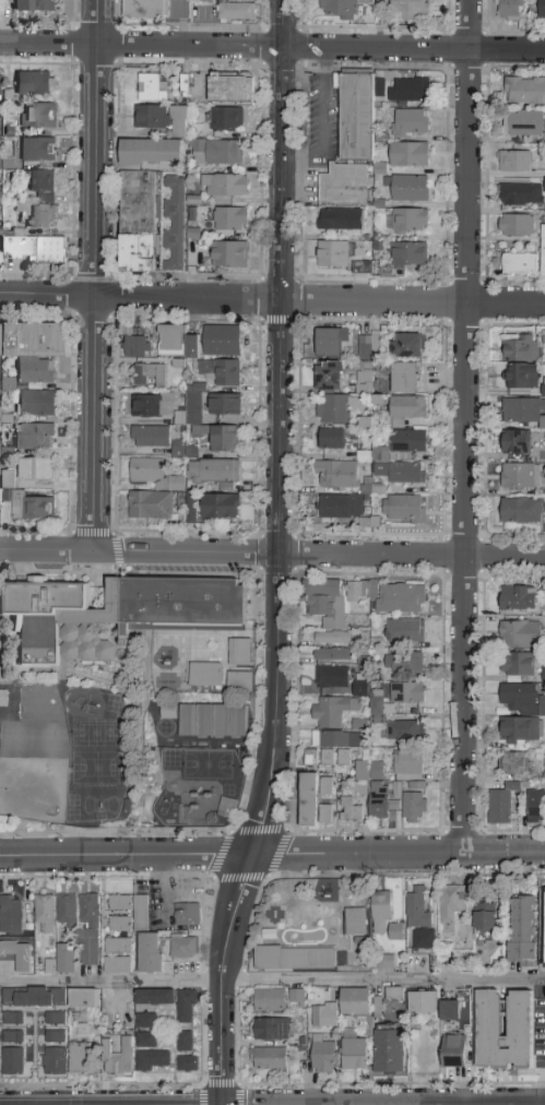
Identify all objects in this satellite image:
building: (199, 0)
building: (365, 0)
building: (4, 1)
building: (34, 5)
building: (145, 9)
building: (340, 9)
building: (408, 9)
building: (542, 9)
building: (237, 10)
building: (512, 10)
road: (272, 48)
building: (35, 83)
building: (153, 88)
building: (232, 90)
building: (407, 91)
building: (525, 91)
building: (38, 116)
building: (357, 117)
building: (162, 118)
building: (226, 119)
parking lot: (324, 119)
road: (324, 121)
building: (410, 123)
building: (525, 123)
road: (95, 148)
building: (37, 150)
road: (282, 150)
building: (151, 153)
building: (217, 153)
building: (410, 155)
building: (516, 162)
building: (544, 183)
building: (42, 185)
building: (224, 186)
building: (344, 187)
building: (410, 189)
building: (521, 194)
building: (40, 216)
building: (230, 219)
building: (339, 219)
building: (138, 222)
building: (410, 222)
building: (175, 223)
building: (517, 225)
building: (14, 247)
building: (51, 250)
building: (544, 252)
building: (333, 254)
building: (229, 256)
building: (408, 259)
building: (520, 265)
building: (362, 268)
road: (47, 296)
road: (186, 298)
road: (411, 302)
building: (544, 336)
building: (222, 341)
building: (138, 342)
building: (177, 342)
building: (332, 342)
building: (407, 346)
building: (369, 348)
building: (520, 348)
building: (34, 349)
building: (221, 372)
building: (150, 376)
building: (330, 376)
building: (518, 377)
building: (404, 379)
building: (5, 382)
building: (36, 403)
building: (224, 404)
building: (153, 406)
building: (190, 408)
building: (335, 408)
building: (406, 409)
building: (522, 411)
road: (92, 424)
road: (465, 427)
building: (36, 436)
building: (150, 437)
building: (225, 439)
building: (331, 439)
building: (516, 442)
building: (403, 443)
building: (1, 450)
building: (36, 470)
building: (214, 472)
building: (402, 472)
building: (154, 475)
building: (336, 475)
building: (520, 476)
building: (5, 477)
building: (190, 503)
building: (150, 506)
building: (32, 507)
building: (220, 507)
building: (341, 507)
building: (404, 509)
building: (521, 511)
road: (186, 532)
road: (110, 535)
road: (272, 555)
road: (261, 570)
road: (275, 579)
building: (391, 596)
building: (518, 598)
building: (328, 610)
building: (110, 613)
building: (403, 630)
building: (521, 634)
building: (239, 653)
building: (332, 655)
building: (518, 664)
building: (401, 665)
building: (542, 674)
building: (205, 675)
building: (331, 677)
building: (239, 681)
building: (358, 687)
road: (258, 689)
building: (406, 693)
building: (518, 697)
road: (297, 701)
building: (375, 703)
building: (542, 708)
building: (332, 711)
building: (213, 721)
building: (357, 723)
building: (519, 729)
building: (403, 730)
building: (335, 740)
building: (311, 758)
building: (327, 758)
building: (343, 758)
building: (407, 762)
building: (513, 763)
building: (369, 771)
building: (327, 786)
building: (309, 800)
building: (380, 800)
building: (415, 801)
building: (501, 803)
building: (227, 808)
building: (535, 808)
building: (349, 810)
building: (325, 816)
road: (272, 856)
road: (214, 878)
building: (327, 893)
building: (120, 904)
building: (451, 905)
building: (67, 911)
building: (141, 913)
building: (381, 913)
building: (45, 914)
building: (11, 915)
building: (187, 915)
building: (419, 918)
building: (355, 922)
building: (484, 923)
building: (120, 925)
building: (544, 928)
building: (88, 930)
building: (520, 931)
building: (396, 932)
building: (117, 947)
building: (183, 947)
building: (151, 953)
building: (66, 959)
building: (296, 959)
building: (384, 963)
building: (48, 965)
building: (117, 965)
road: (203, 977)
road: (223, 978)
road: (241, 978)
road: (272, 983)
building: (394, 994)
building: (34, 997)
building: (154, 997)
building: (296, 997)
building: (84, 1000)
building: (269, 1000)
building: (355, 1002)
building: (423, 1002)
building: (376, 1006)
building: (187, 1007)
building: (457, 1008)
building: (488, 1013)
building: (324, 1017)
building: (14, 1018)
building: (56, 1018)
building: (146, 1022)
building: (271, 1030)
building: (14, 1037)
building: (55, 1037)
building: (146, 1041)
building: (186, 1042)
building: (390, 1051)
building: (453, 1053)
building: (322, 1055)
building: (354, 1055)
building: (81, 1058)
building: (119, 1058)
building: (269, 1059)
building: (13, 1061)
building: (56, 1061)
building: (153, 1061)
building: (188, 1064)
road: (221, 1086)

